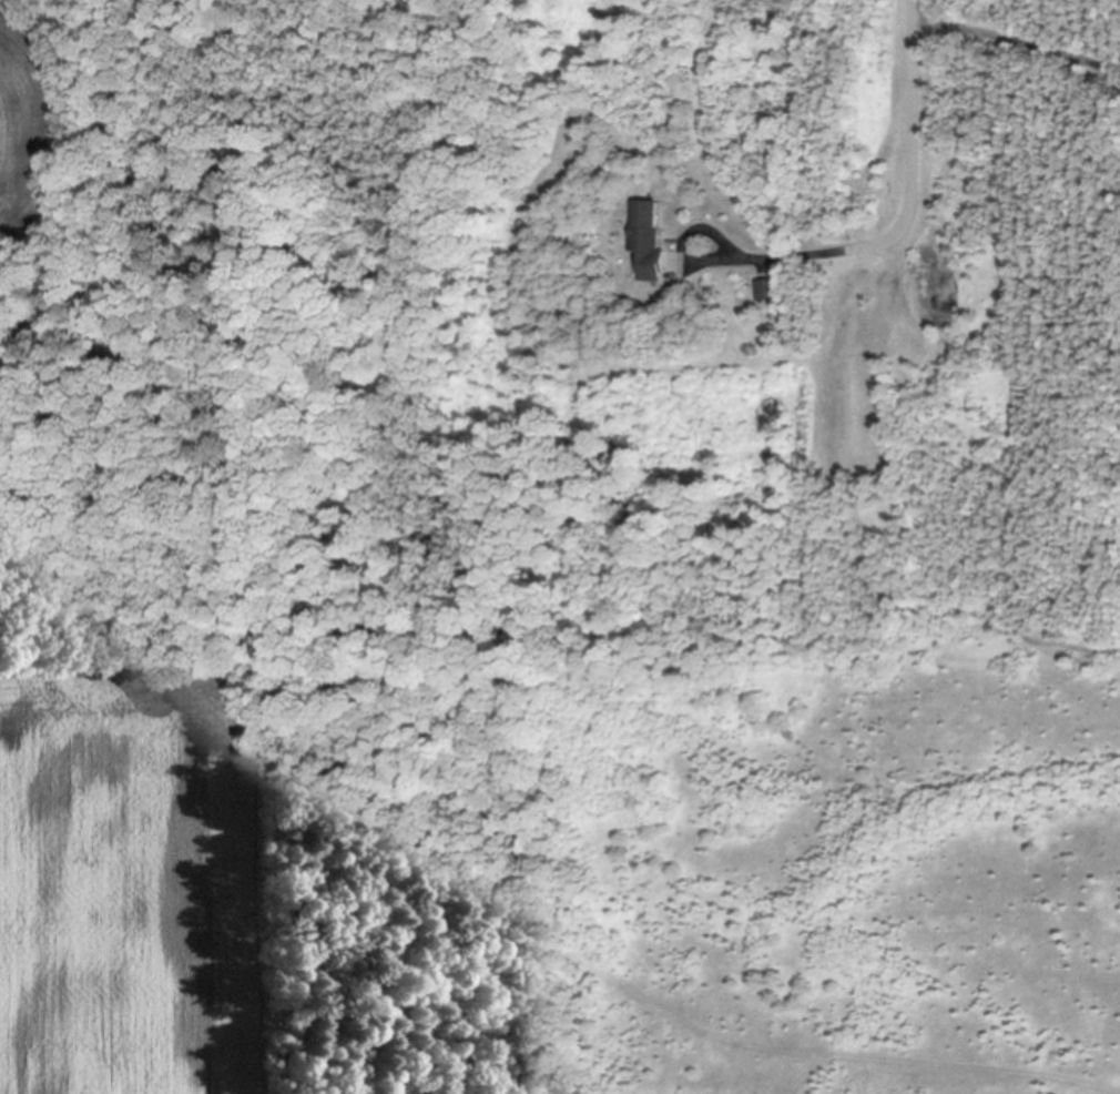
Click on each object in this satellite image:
road: (1017, 41)
road: (912, 196)
road: (688, 233)
building: (649, 242)
building: (766, 292)

